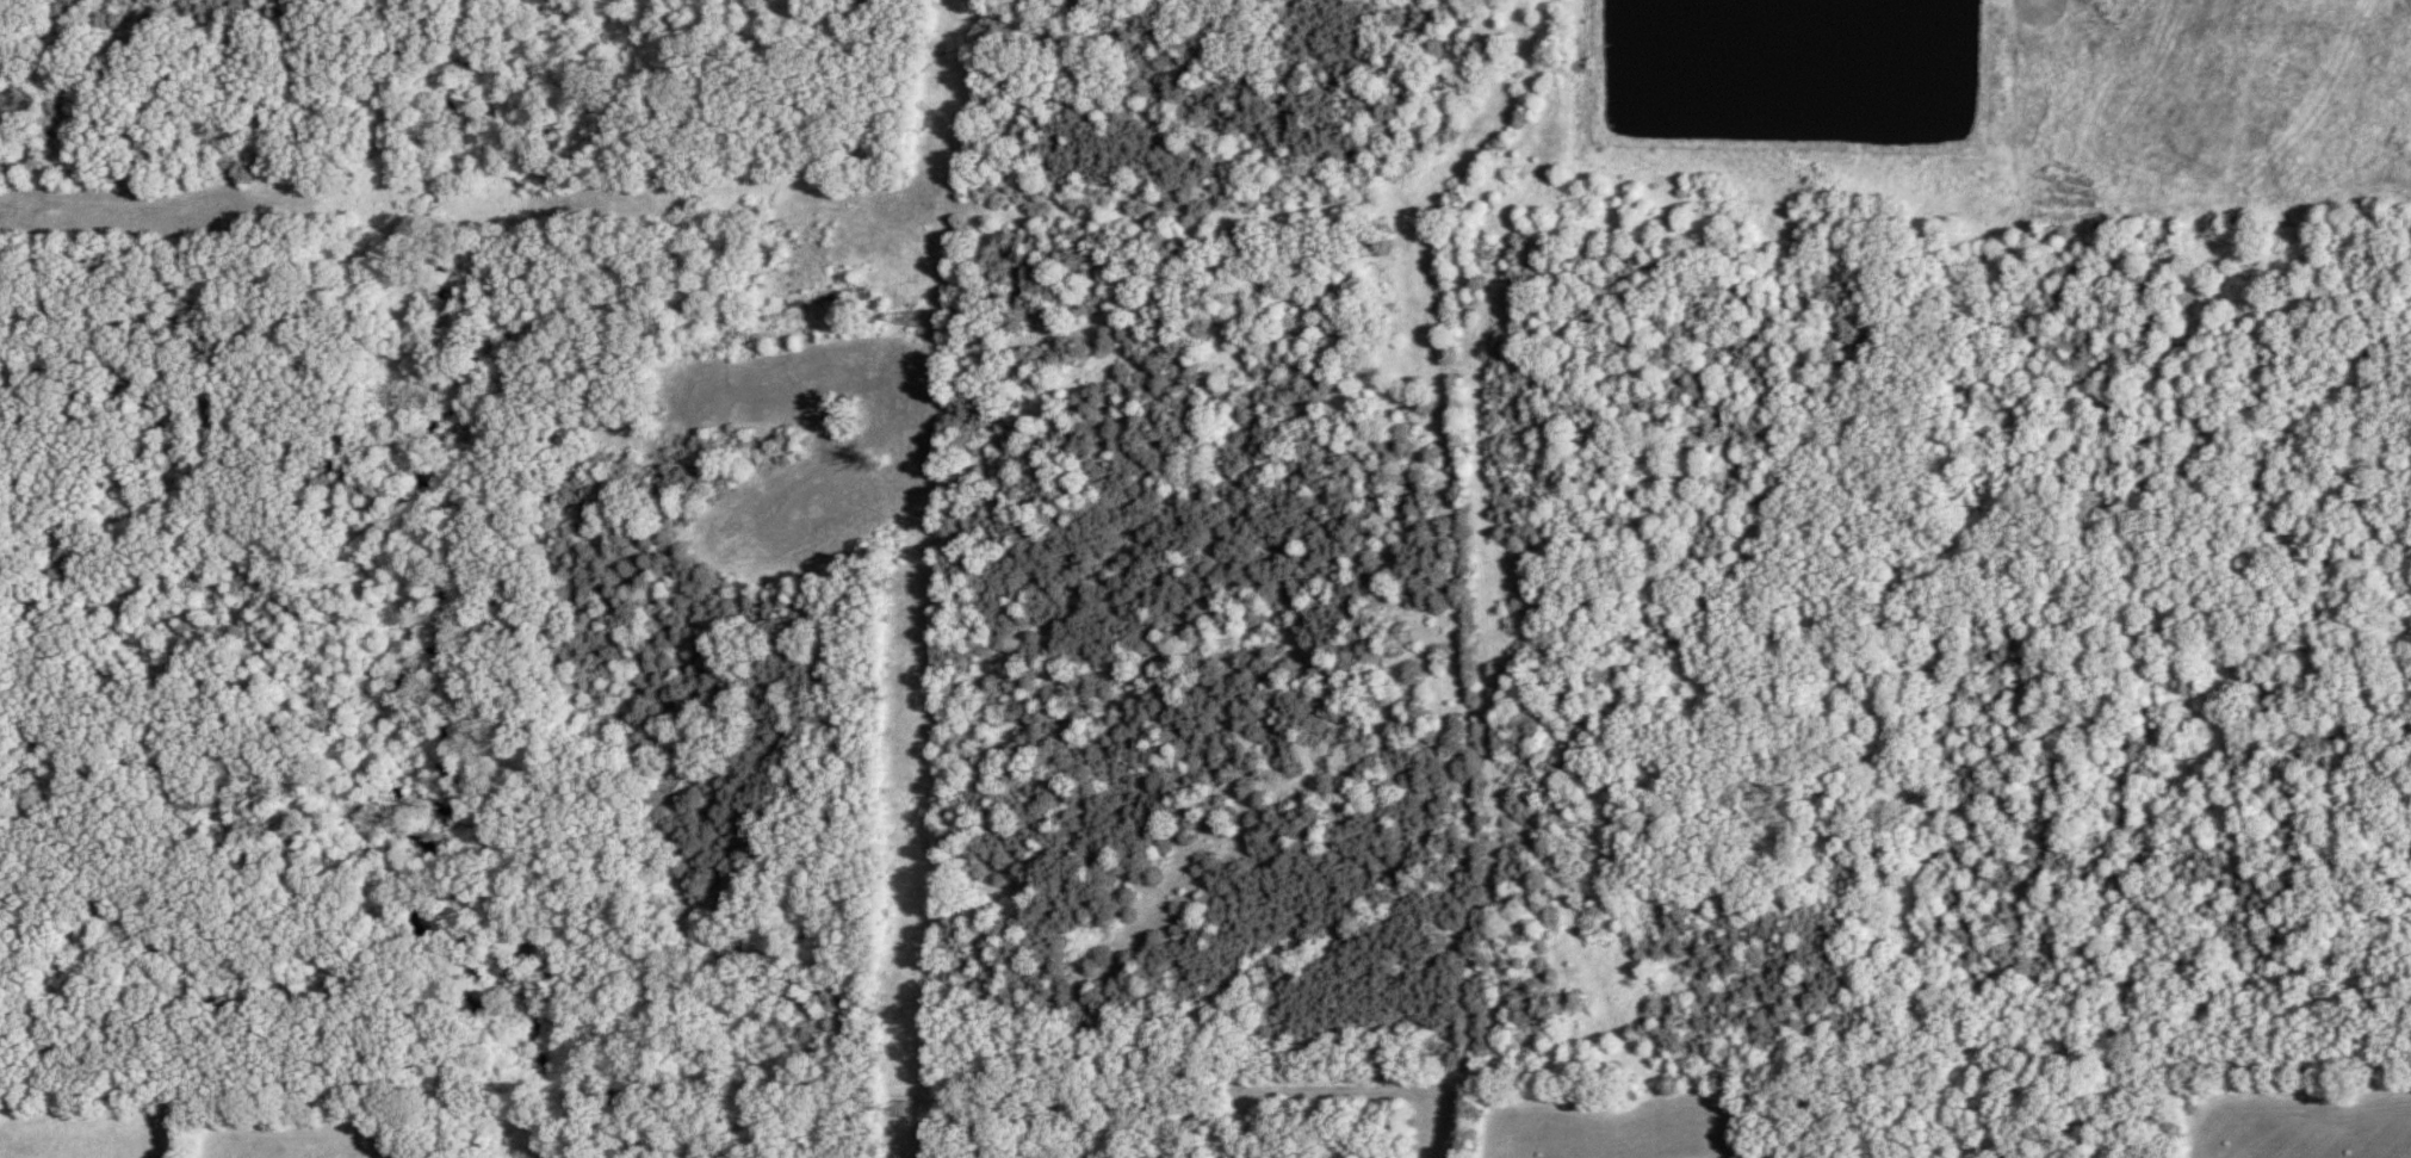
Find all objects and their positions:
power tower: (912, 316)
power tower: (906, 1110)

